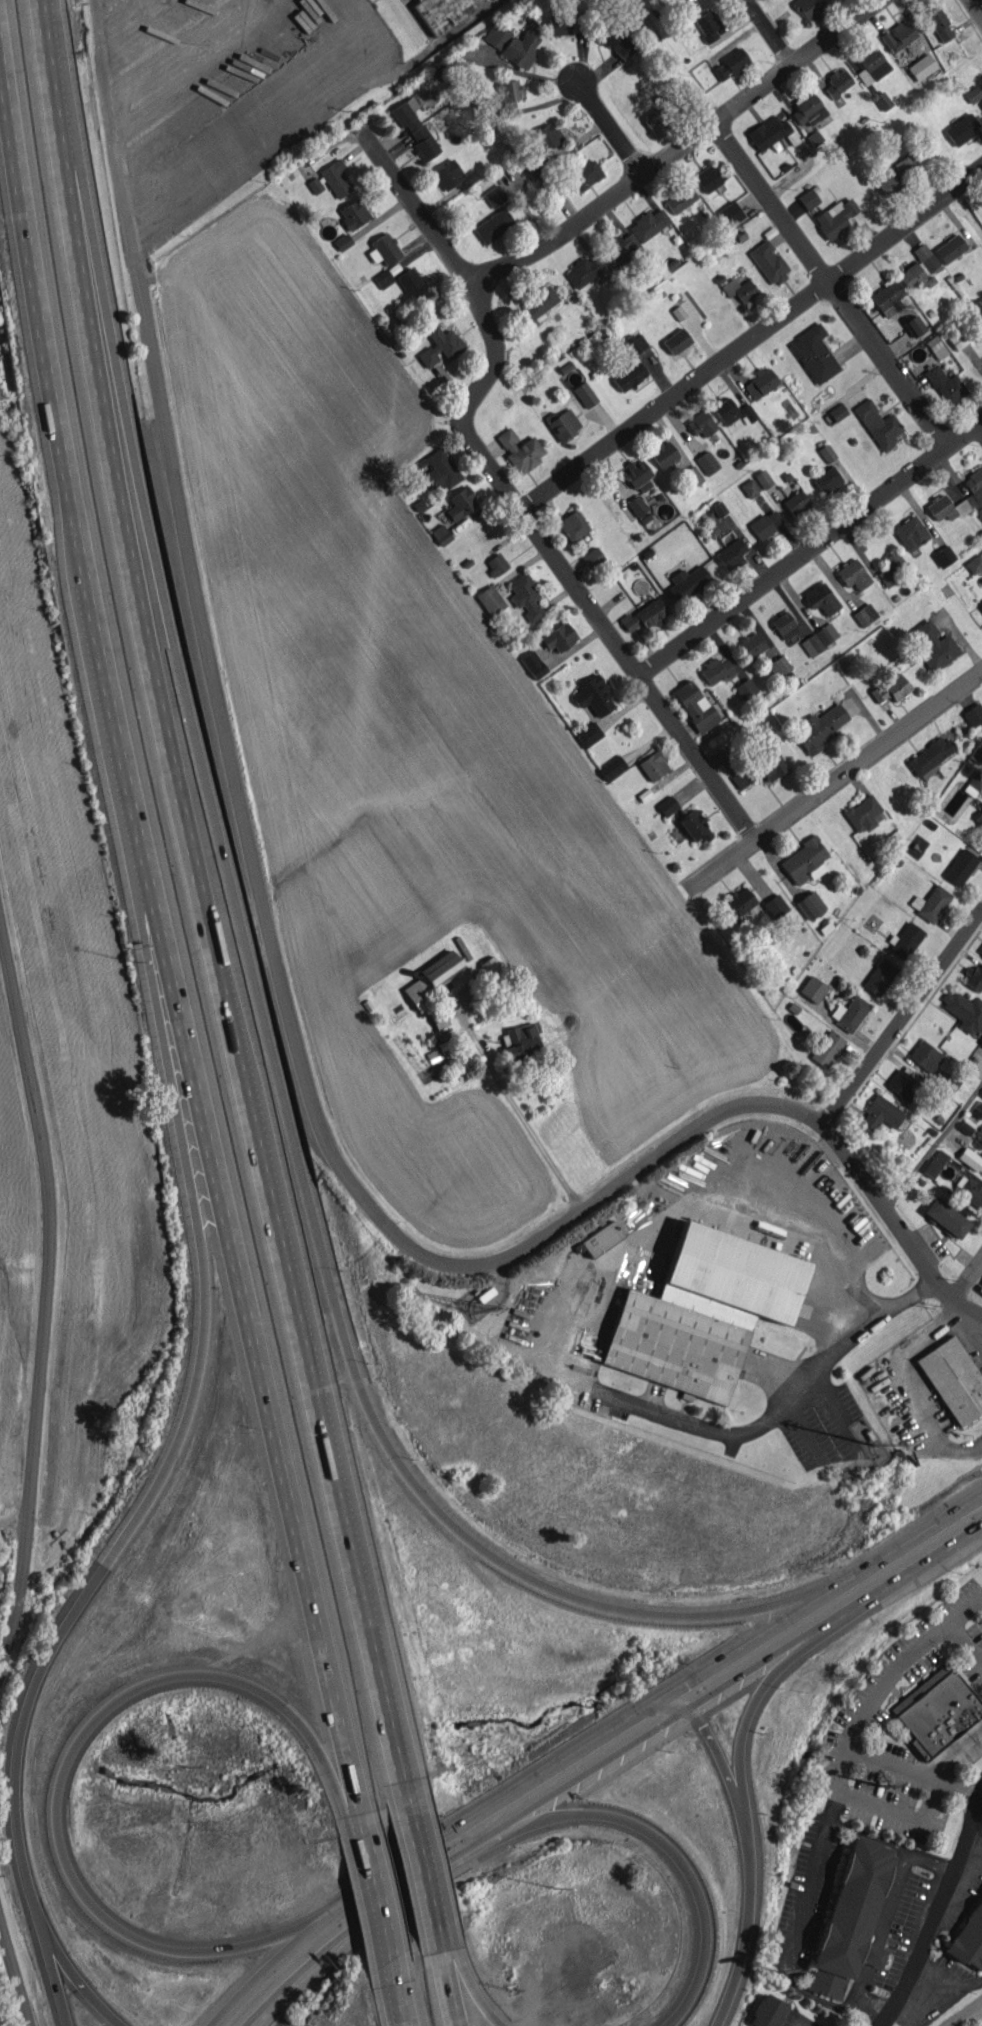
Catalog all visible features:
road: (976, 8)
building: (809, 9)
building: (444, 11)
building: (565, 23)
building: (940, 24)
building: (707, 26)
road: (764, 31)
building: (898, 35)
building: (614, 41)
building: (513, 43)
building: (730, 64)
building: (871, 65)
building: (921, 66)
building: (838, 82)
building: (973, 93)
building: (509, 97)
building: (882, 100)
building: (981, 104)
building: (807, 109)
building: (406, 113)
building: (658, 120)
road: (606, 125)
building: (962, 128)
building: (768, 132)
building: (546, 136)
building: (424, 142)
road: (110, 143)
road: (671, 143)
building: (585, 173)
building: (896, 174)
building: (449, 175)
building: (335, 178)
building: (707, 178)
building: (315, 185)
building: (494, 195)
building: (680, 198)
building: (808, 199)
building: (353, 213)
building: (729, 214)
building: (835, 217)
building: (648, 224)
building: (493, 225)
building: (342, 241)
building: (620, 246)
building: (950, 248)
building: (383, 249)
building: (768, 261)
building: (919, 268)
building: (585, 270)
building: (383, 278)
building: (409, 280)
road: (828, 283)
building: (739, 289)
building: (888, 297)
building: (538, 304)
building: (914, 325)
road: (748, 337)
building: (958, 338)
building: (676, 340)
building: (635, 342)
building: (440, 346)
building: (936, 346)
building: (814, 353)
building: (629, 375)
building: (760, 382)
building: (946, 385)
building: (585, 393)
building: (726, 411)
building: (701, 423)
building: (564, 424)
building: (878, 424)
road: (980, 428)
building: (520, 449)
building: (826, 452)
building: (663, 453)
building: (707, 461)
building: (439, 469)
building: (638, 476)
building: (691, 476)
building: (763, 478)
building: (827, 479)
building: (749, 487)
road: (501, 490)
building: (971, 499)
building: (796, 502)
building: (461, 503)
building: (637, 505)
building: (765, 523)
building: (572, 525)
building: (910, 532)
building: (441, 534)
road: (809, 551)
building: (731, 554)
building: (943, 556)
building: (592, 557)
building: (974, 563)
building: (496, 564)
building: (892, 568)
building: (853, 574)
building: (687, 582)
building: (525, 596)
building: (821, 598)
building: (490, 600)
building: (981, 607)
building: (865, 614)
building: (645, 615)
building: (784, 625)
building: (826, 633)
building: (559, 637)
building: (812, 644)
building: (751, 645)
building: (935, 646)
building: (533, 664)
building: (779, 666)
building: (716, 670)
building: (891, 687)
building: (745, 688)
building: (592, 696)
building: (695, 705)
building: (973, 714)
building: (820, 728)
building: (929, 755)
building: (653, 765)
building: (612, 767)
building: (761, 768)
building: (976, 780)
road: (833, 784)
building: (667, 805)
building: (862, 813)
building: (979, 818)
building: (694, 825)
building: (805, 861)
building: (960, 866)
building: (739, 901)
building: (934, 903)
road: (211, 904)
building: (810, 904)
building: (774, 905)
building: (906, 940)
building: (981, 952)
road: (164, 967)
building: (492, 967)
building: (879, 976)
building: (432, 979)
building: (812, 988)
building: (964, 1010)
building: (850, 1012)
building: (438, 1018)
road: (901, 1019)
building: (445, 1040)
building: (980, 1040)
building: (520, 1042)
building: (827, 1048)
building: (925, 1055)
building: (902, 1082)
building: (949, 1084)
building: (981, 1094)
road: (510, 1106)
building: (881, 1113)
road: (322, 1133)
road: (933, 1142)
building: (970, 1158)
building: (935, 1163)
building: (971, 1192)
building: (946, 1217)
building: (601, 1238)
road: (968, 1282)
road: (46, 1288)
building: (980, 1288)
building: (702, 1312)
road: (555, 1357)
building: (953, 1379)
road: (898, 1387)
road: (828, 1401)
road: (185, 1415)
road: (912, 1537)
road: (496, 1569)
road: (820, 1596)
road: (253, 1639)
road: (962, 1643)
road: (728, 1653)
road: (876, 1687)
traffic signals: (661, 1698)
building: (937, 1710)
road: (748, 1713)
road: (951, 1746)
road: (66, 1762)
road: (912, 1769)
road: (492, 1801)
road: (899, 1808)
road: (742, 1823)
road: (658, 1835)
road: (934, 1858)
road: (427, 1864)
road: (803, 1891)
road: (893, 1898)
road: (372, 1904)
road: (940, 1913)
building: (849, 1917)
building: (968, 1938)
road: (47, 1944)
road: (872, 1955)
road: (272, 1968)
road: (14, 1972)
road: (450, 1976)
road: (469, 1977)
road: (81, 1982)
road: (860, 1983)
road: (393, 1996)
road: (728, 2001)
road: (870, 2004)
building: (766, 2011)
road: (963, 2013)

